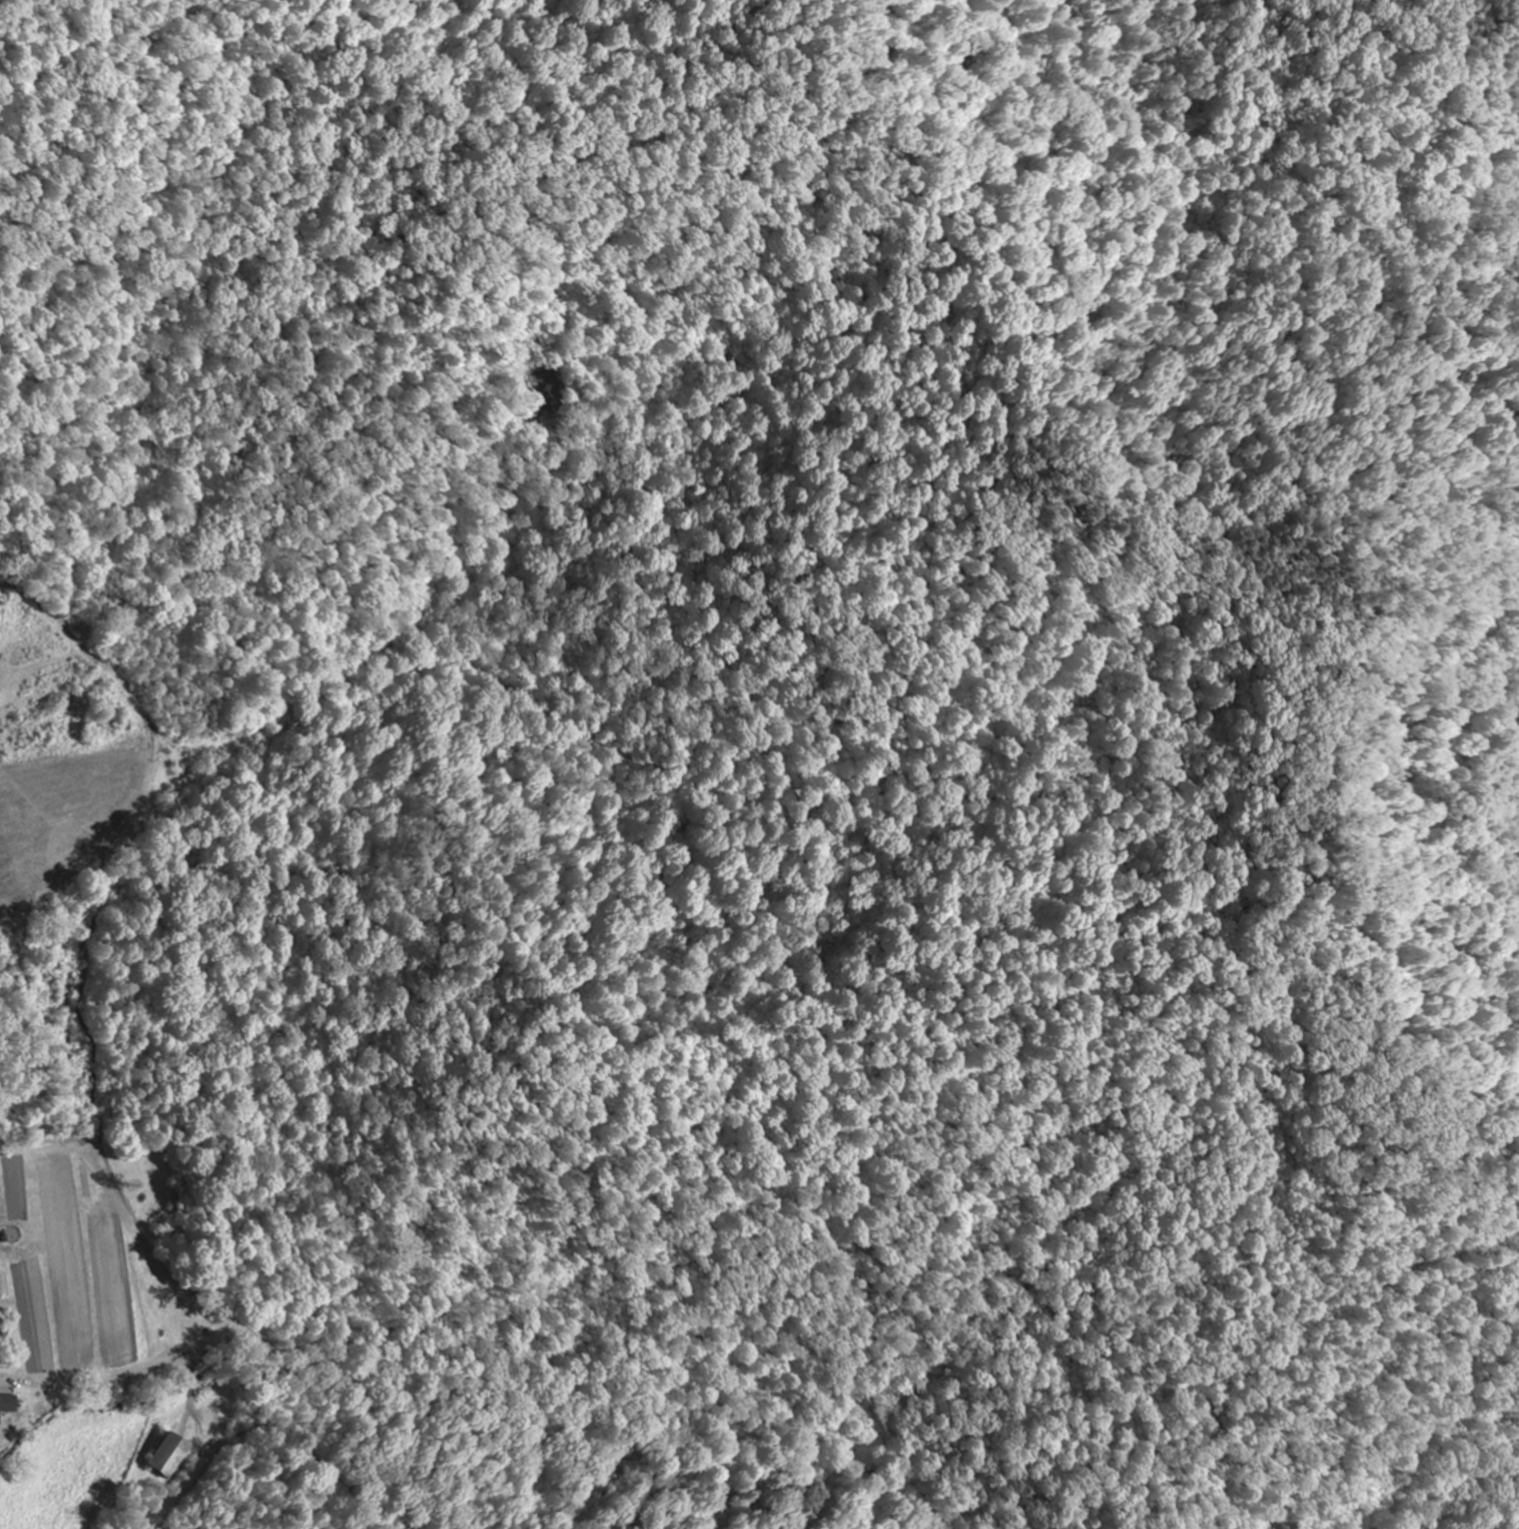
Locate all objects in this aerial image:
road: (130, 1374)
building: (12, 1403)
building: (0, 1421)
building: (173, 1453)

